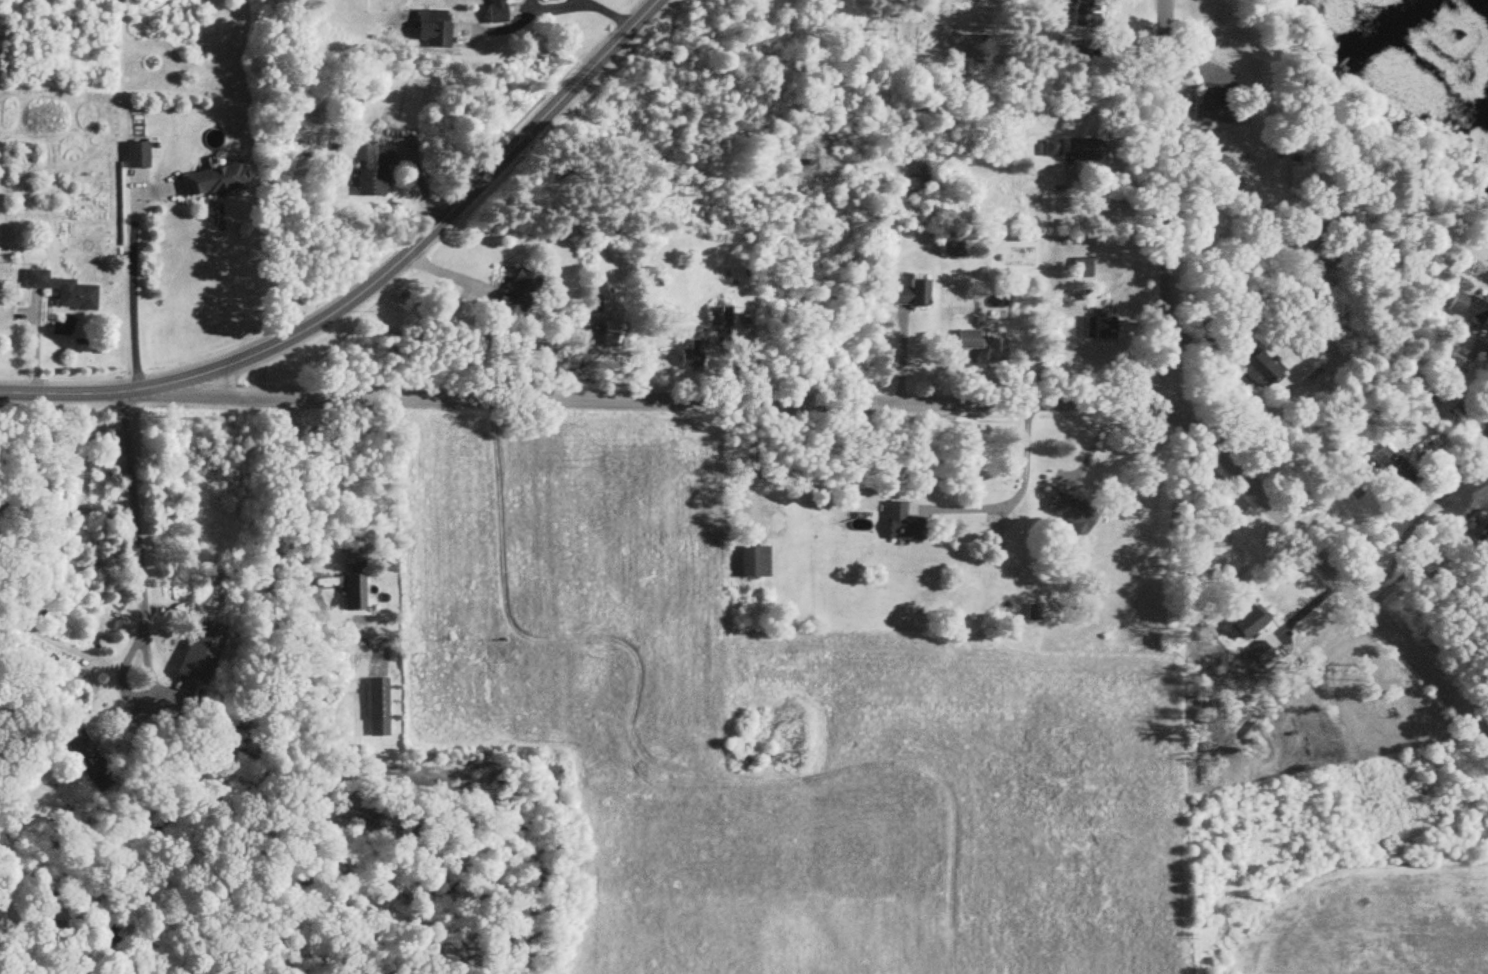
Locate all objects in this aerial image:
road: (580, 7)
building: (499, 11)
building: (1086, 13)
building: (435, 28)
building: (1220, 104)
building: (1053, 149)
building: (1090, 149)
building: (139, 156)
building: (377, 177)
building: (215, 181)
building: (1301, 182)
road: (1166, 203)
building: (1317, 235)
road: (422, 239)
building: (956, 246)
road: (1302, 258)
building: (1327, 258)
building: (1084, 268)
road: (131, 283)
building: (65, 291)
building: (519, 294)
building: (914, 294)
building: (1251, 307)
building: (1471, 309)
building: (721, 317)
building: (1102, 328)
building: (617, 334)
building: (985, 347)
building: (694, 356)
building: (1262, 370)
road: (65, 390)
road: (881, 404)
building: (1394, 468)
road: (754, 469)
road: (1018, 488)
road: (294, 492)
building: (1075, 514)
building: (905, 524)
road: (1415, 525)
road: (136, 543)
building: (755, 563)
building: (356, 595)
building: (1035, 614)
building: (1252, 623)
road: (1454, 626)
building: (1261, 653)
building: (202, 655)
building: (378, 708)
crop: (766, 729)
road: (1484, 732)
building: (86, 757)

